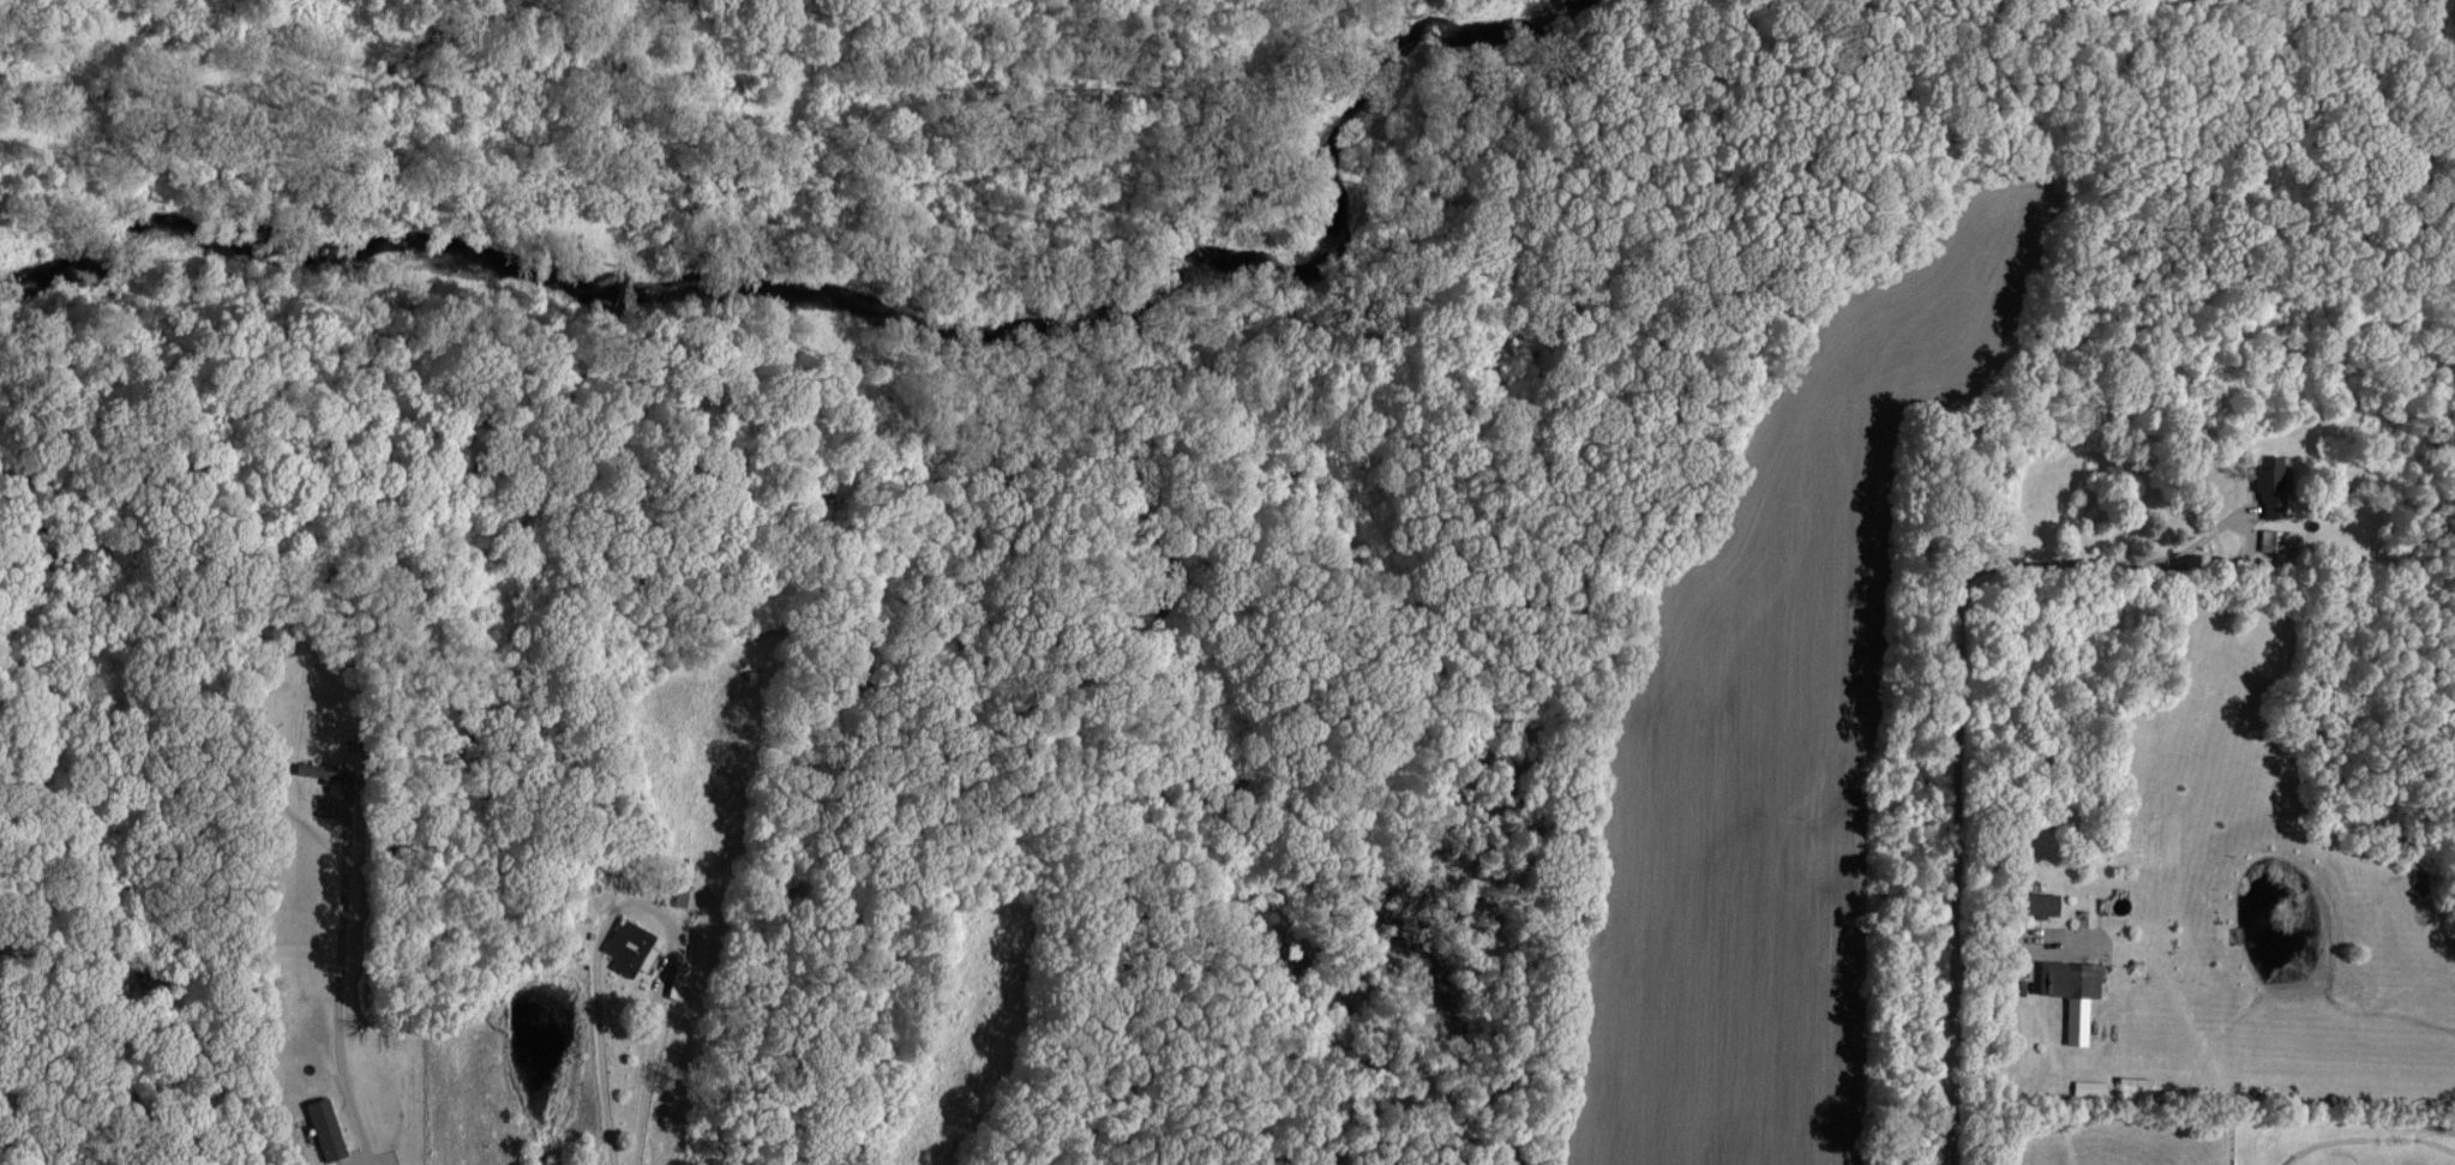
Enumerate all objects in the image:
building: (2274, 479)
road: (1956, 733)
building: (313, 768)
building: (688, 895)
building: (2048, 903)
building: (631, 945)
road: (340, 987)
building: (2075, 991)
building: (2090, 1086)
building: (328, 1128)

